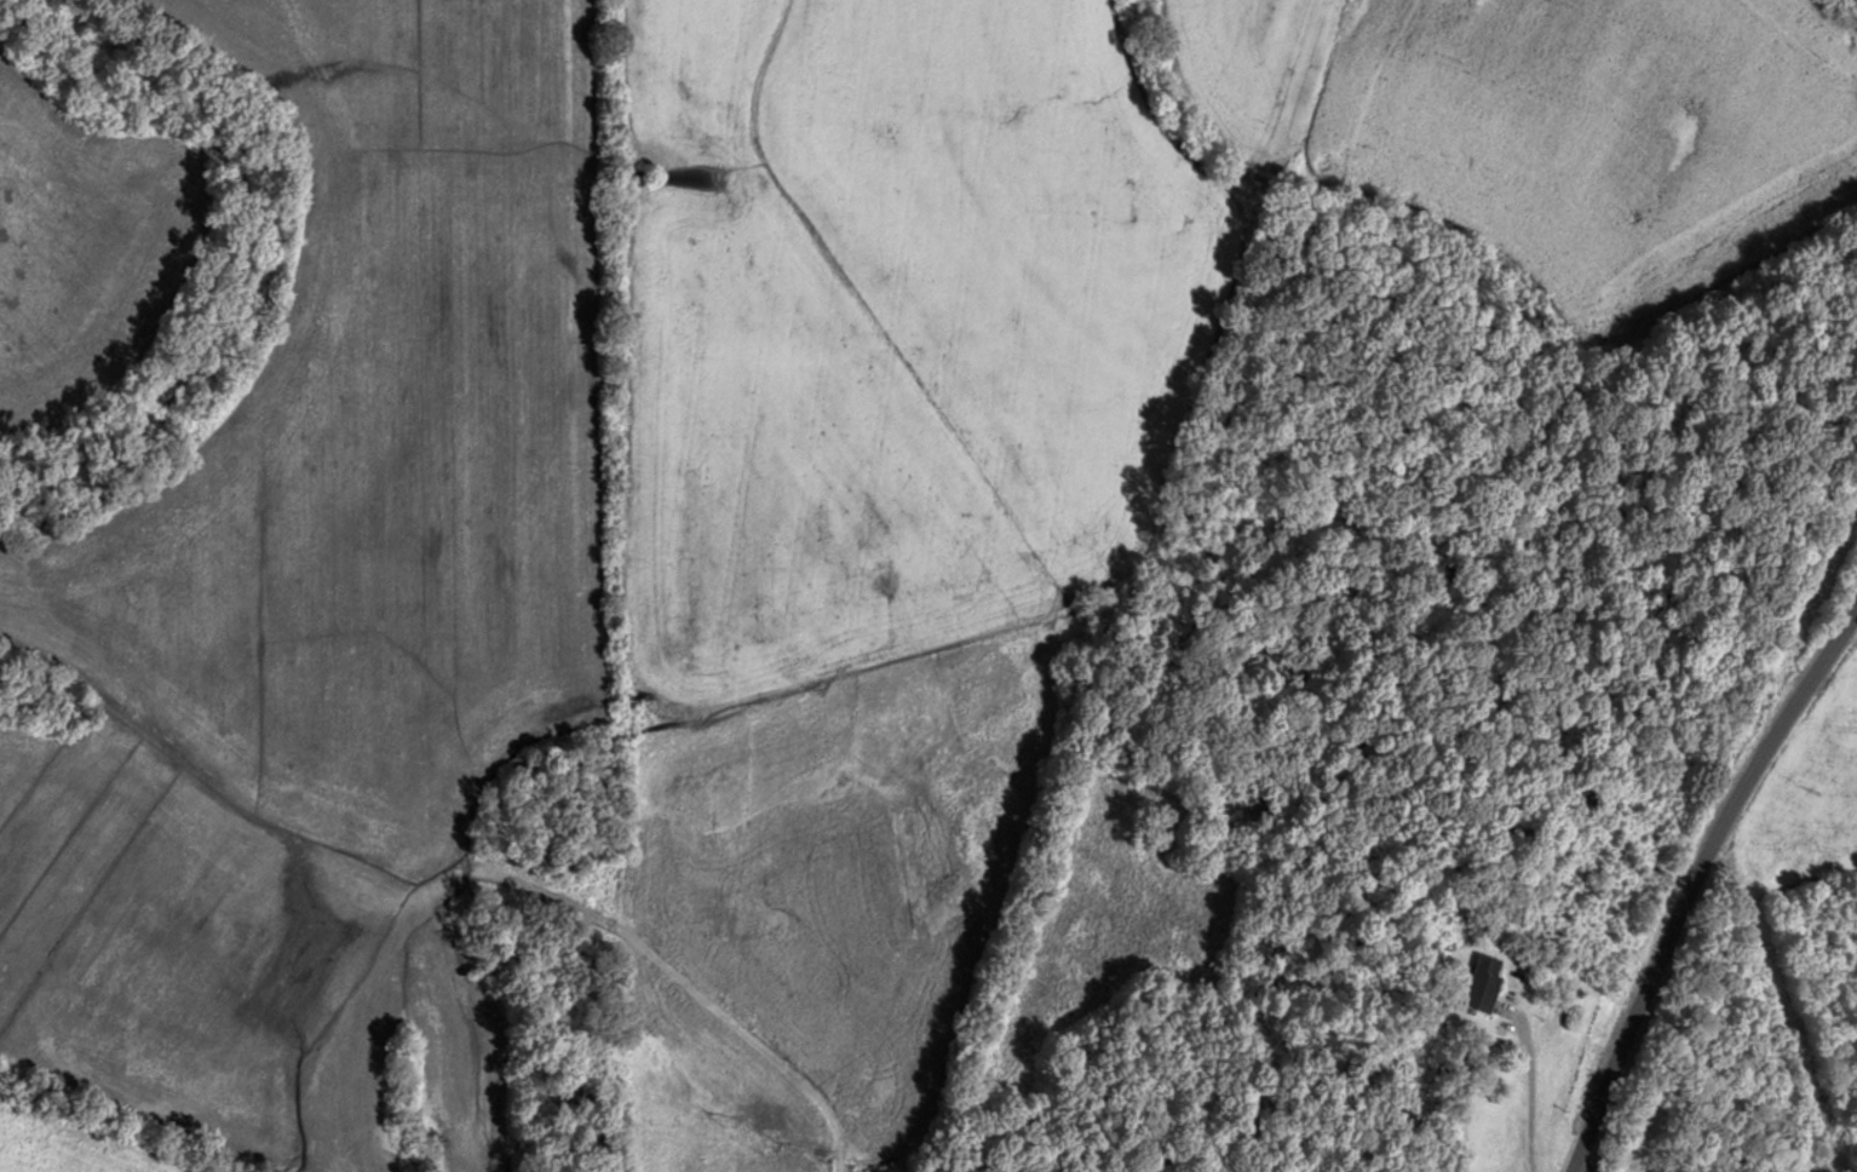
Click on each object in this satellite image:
road: (1696, 881)
building: (1483, 983)
building: (1655, 1167)

